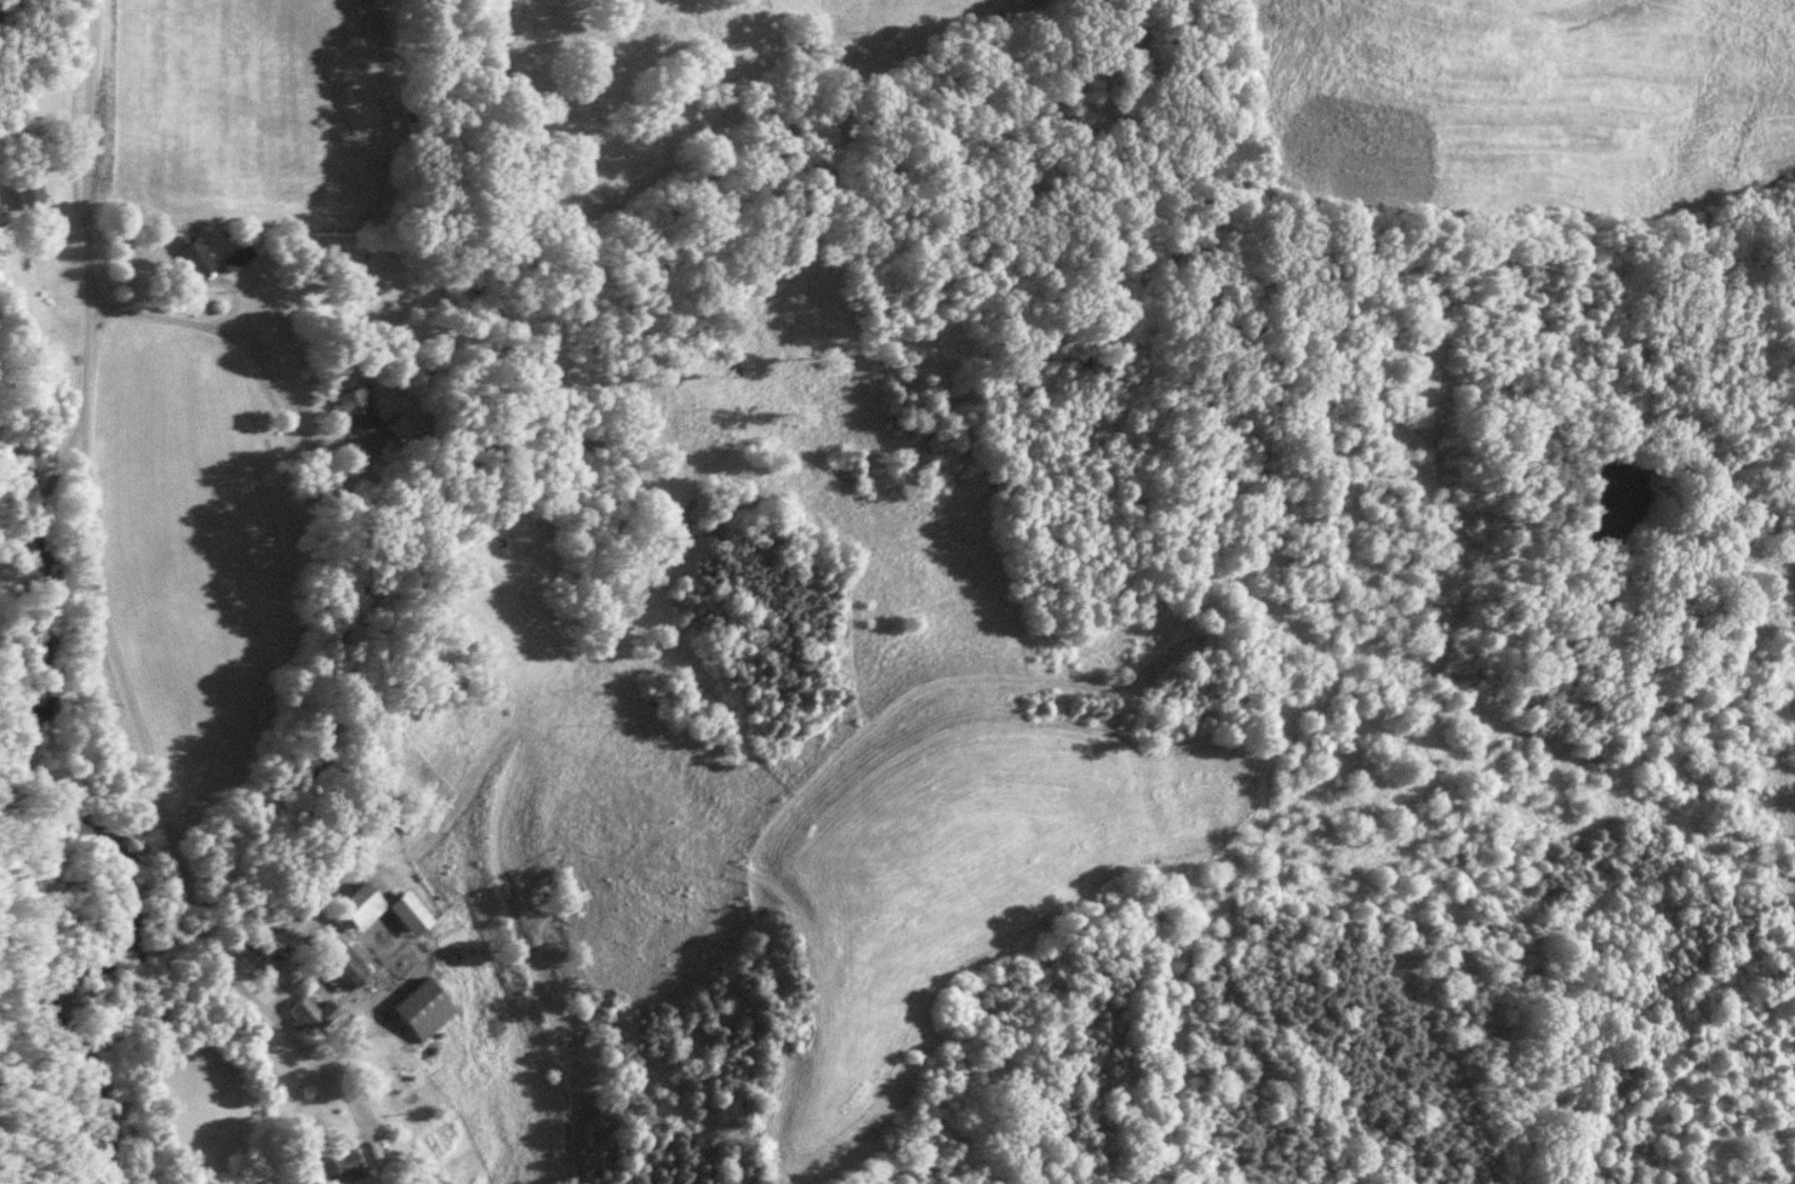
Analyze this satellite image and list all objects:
building: (30, 198)
building: (191, 257)
building: (235, 261)
road: (190, 286)
road: (245, 351)
building: (353, 413)
road: (45, 492)
road: (98, 601)
building: (359, 909)
building: (408, 916)
building: (344, 972)
building: (422, 1012)
building: (310, 1018)
building: (339, 1169)

